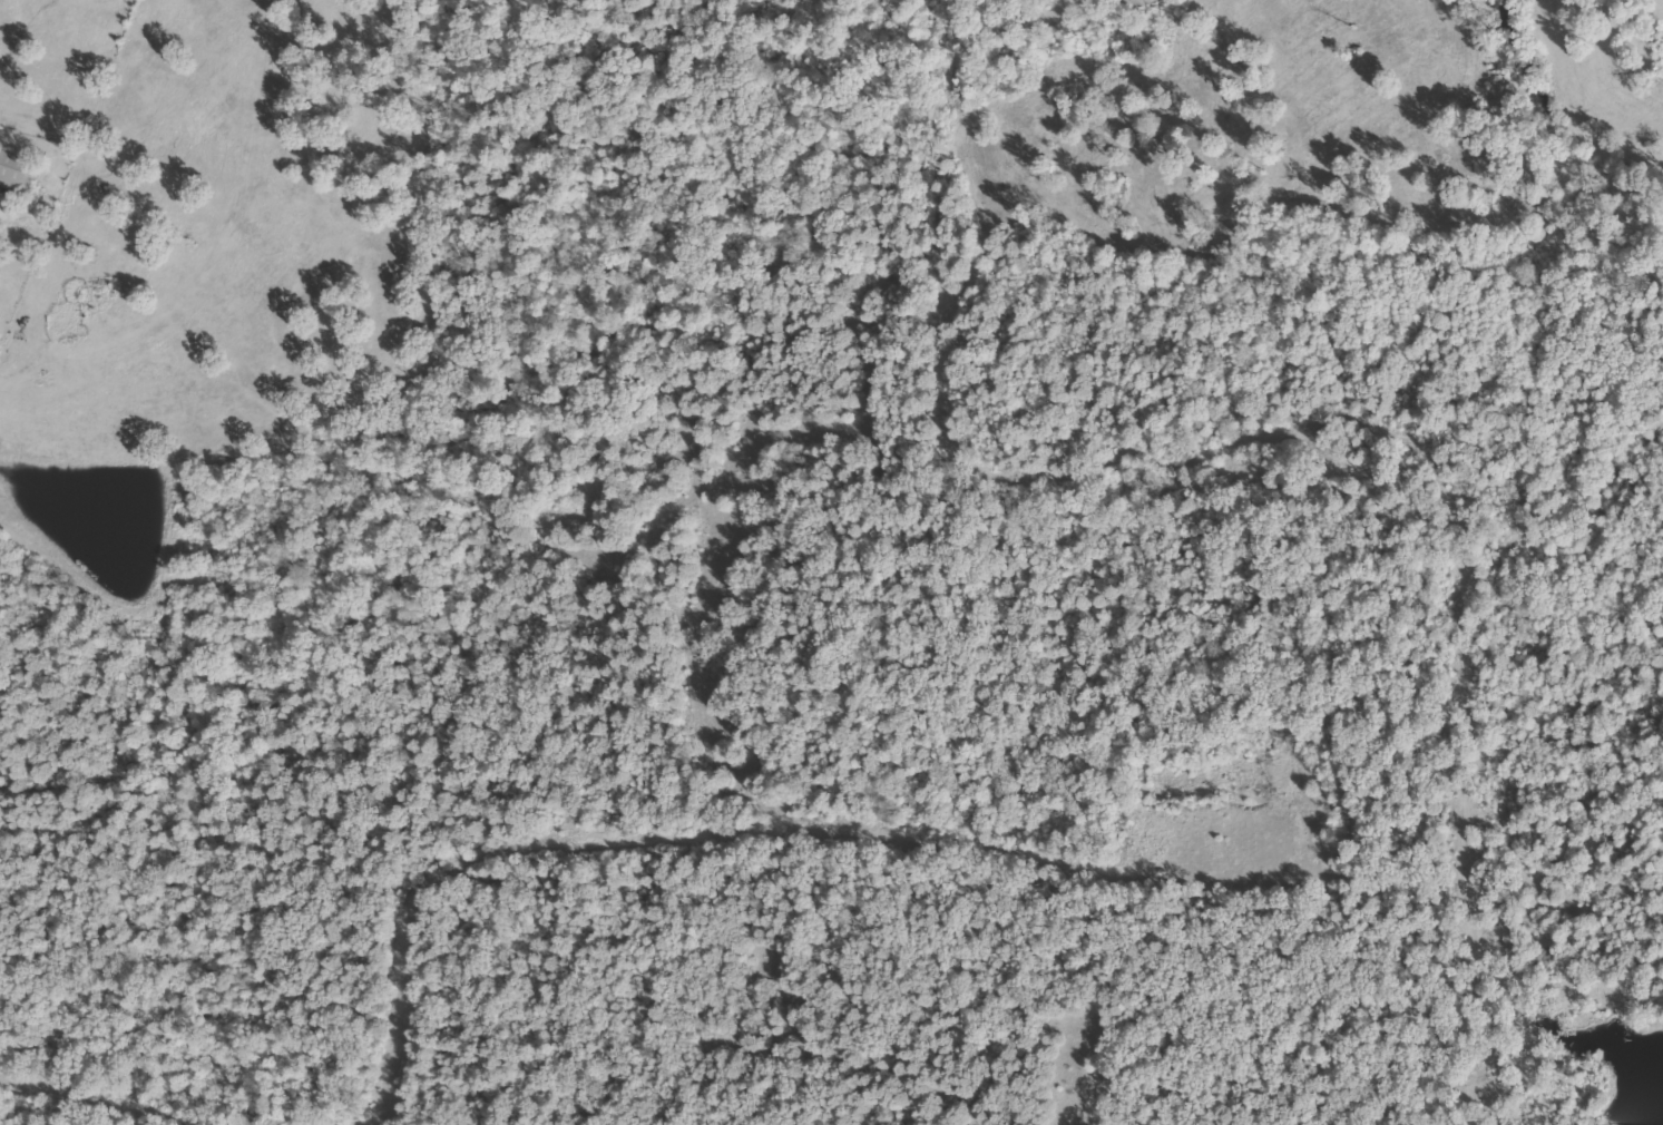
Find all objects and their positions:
building: (18, 170)

